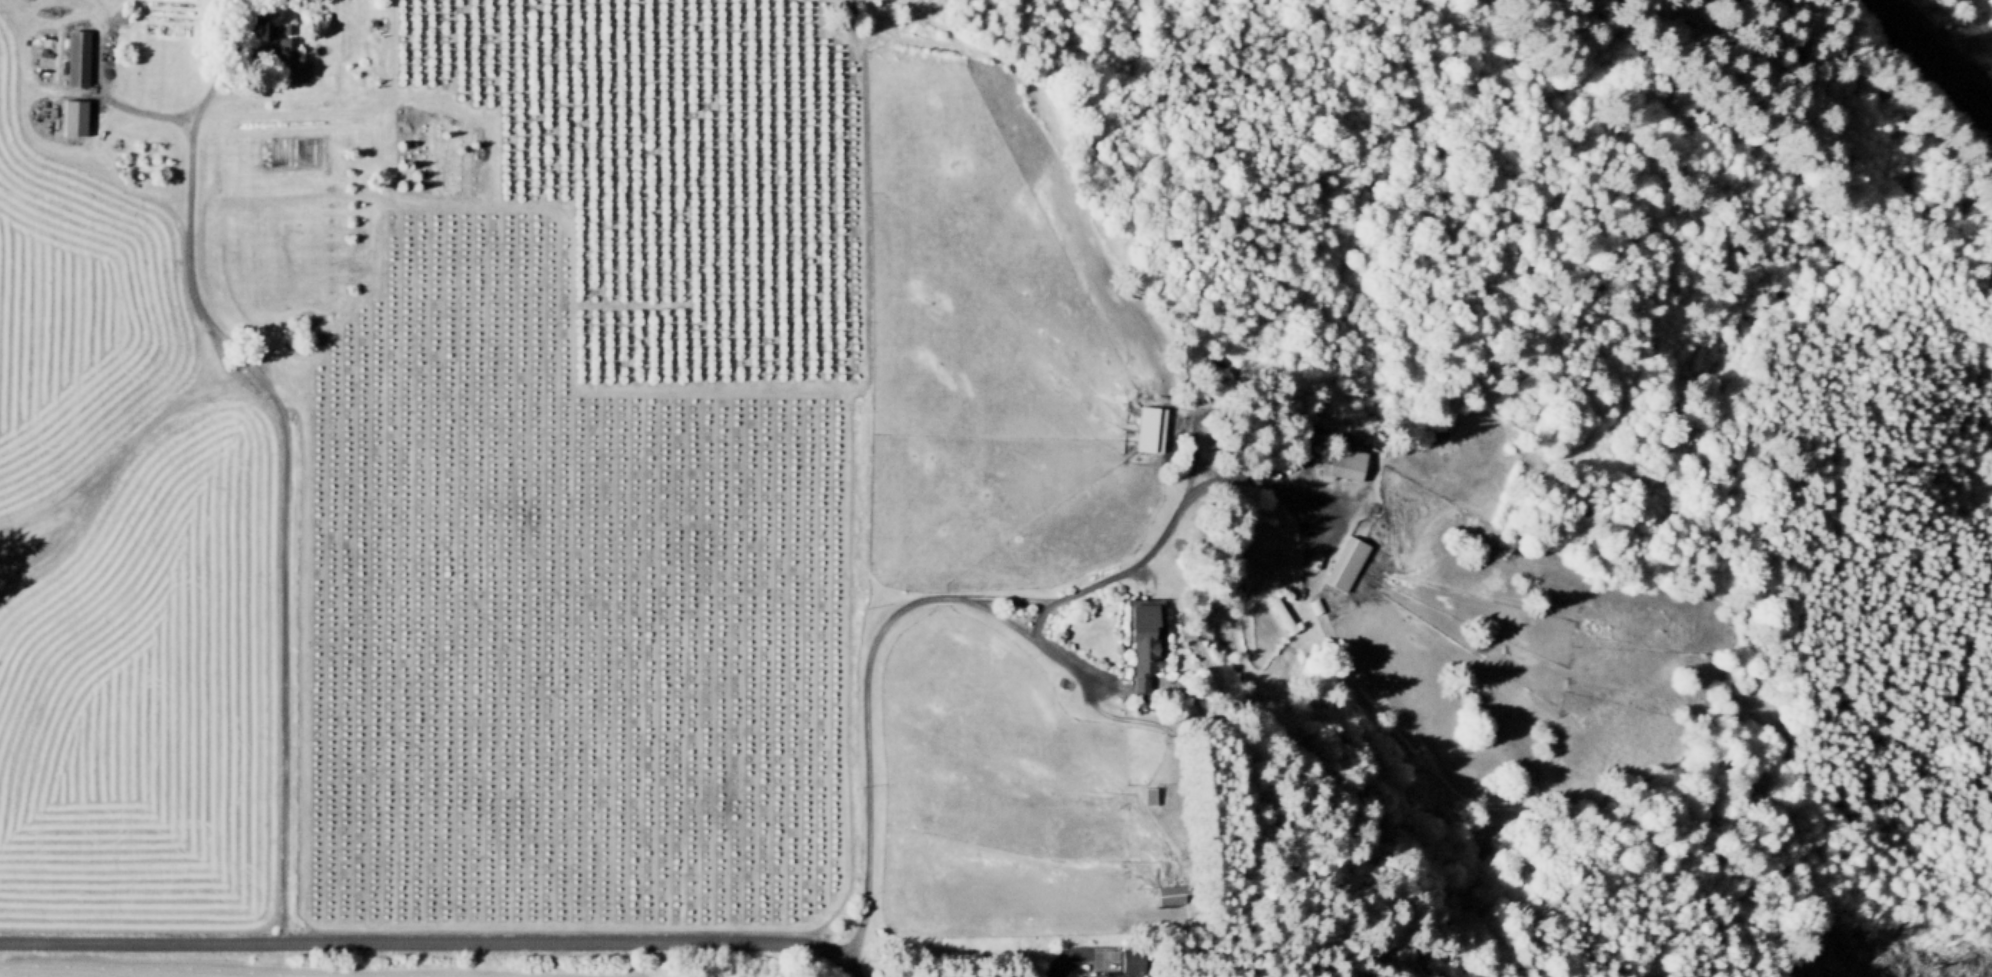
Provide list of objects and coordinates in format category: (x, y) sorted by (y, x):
road: (100, 12)
building: (260, 22)
building: (370, 22)
building: (287, 28)
building: (286, 48)
building: (74, 58)
road: (1930, 63)
road: (81, 92)
road: (168, 115)
building: (72, 118)
building: (1148, 428)
road: (1194, 431)
building: (1439, 434)
road: (1368, 452)
building: (1342, 464)
crop: (573, 478)
road: (286, 514)
road: (1323, 537)
building: (1260, 548)
building: (1343, 564)
road: (985, 598)
building: (1313, 606)
building: (1280, 614)
road: (1040, 616)
building: (1244, 627)
road: (1040, 642)
building: (1140, 643)
building: (1147, 795)
building: (1168, 895)
road: (433, 941)
road: (1077, 955)
building: (1127, 963)

